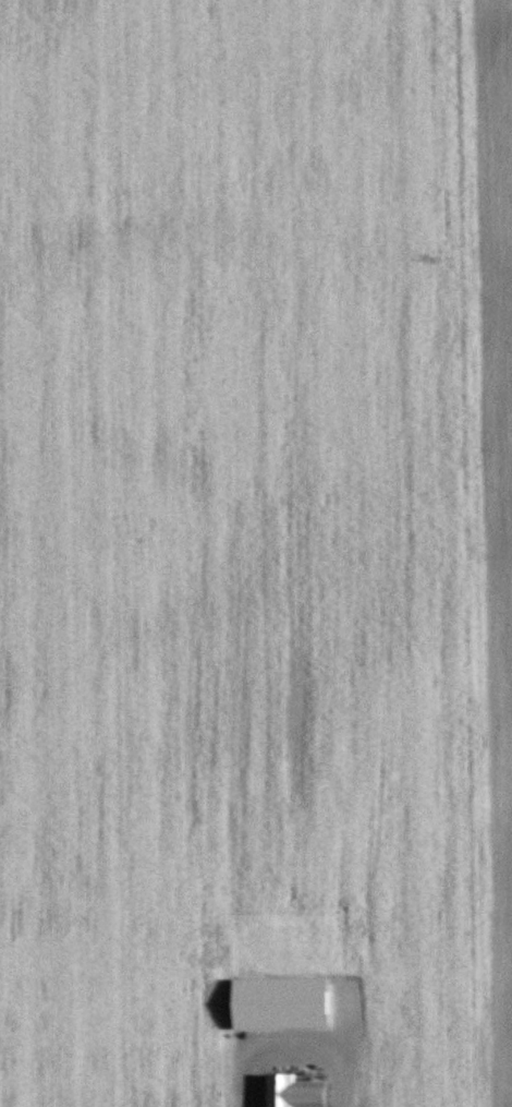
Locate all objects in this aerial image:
road: (295, 1048)
building: (294, 1092)

